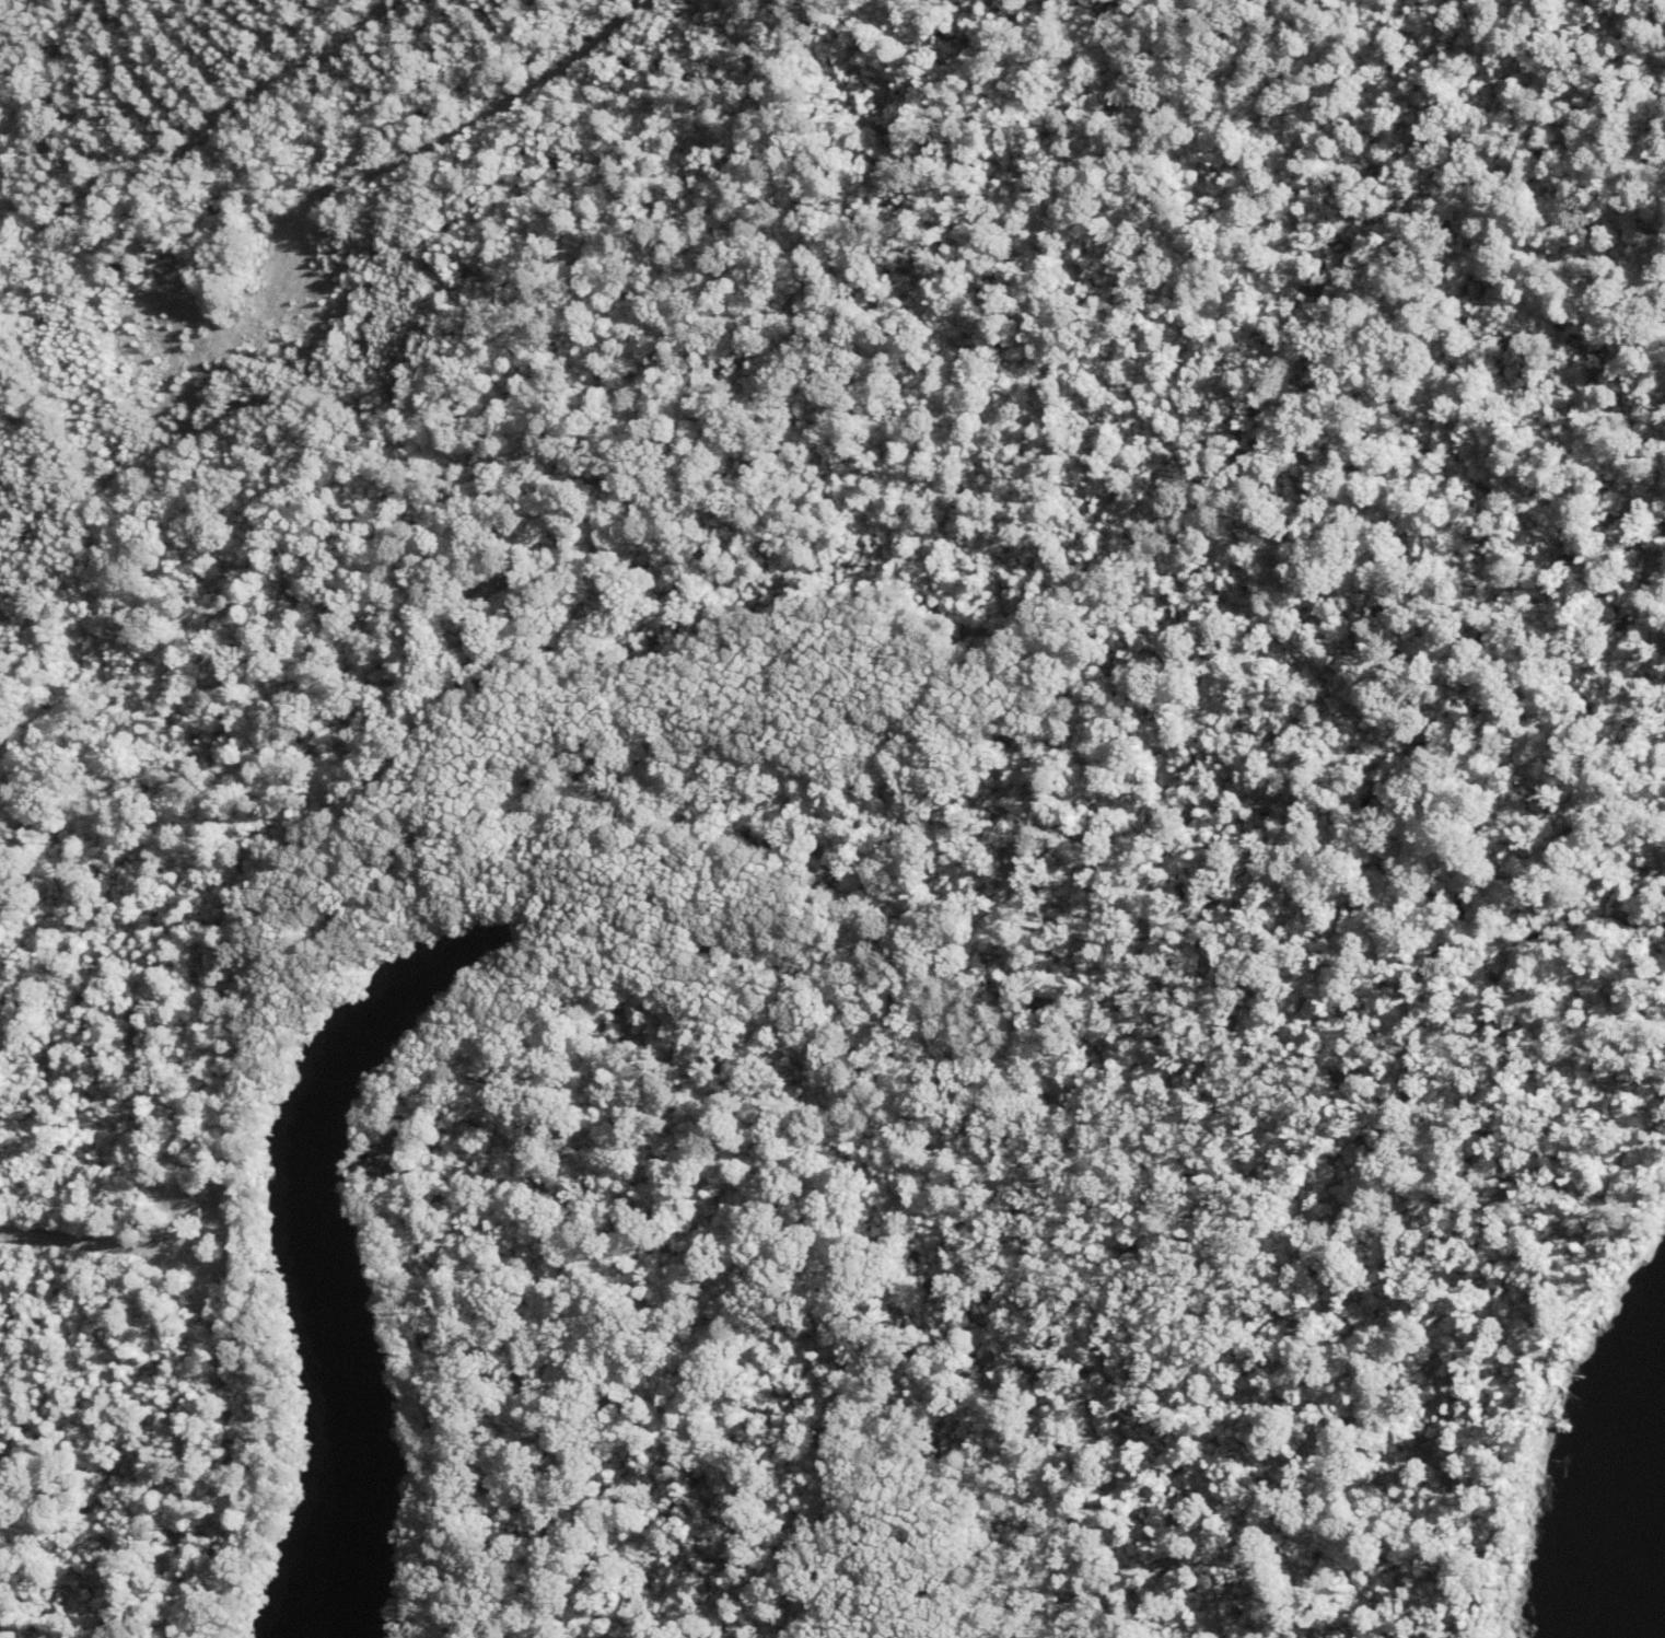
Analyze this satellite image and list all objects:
river: (1622, 1527)

